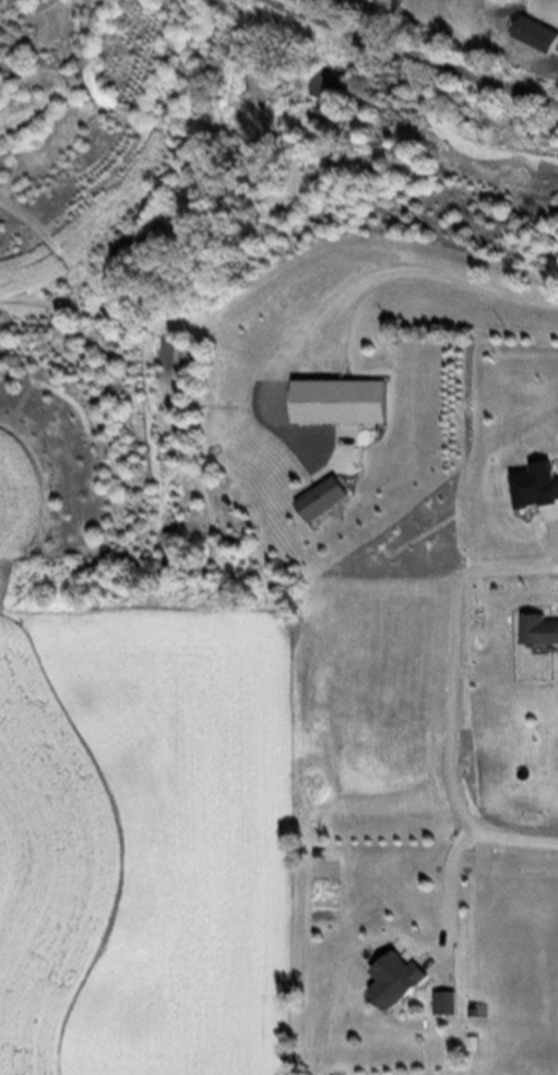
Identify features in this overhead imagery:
road: (428, 49)
road: (353, 297)
building: (333, 403)
building: (328, 504)
building: (544, 628)
road: (234, 847)
road: (462, 861)
building: (409, 983)
building: (449, 1001)

